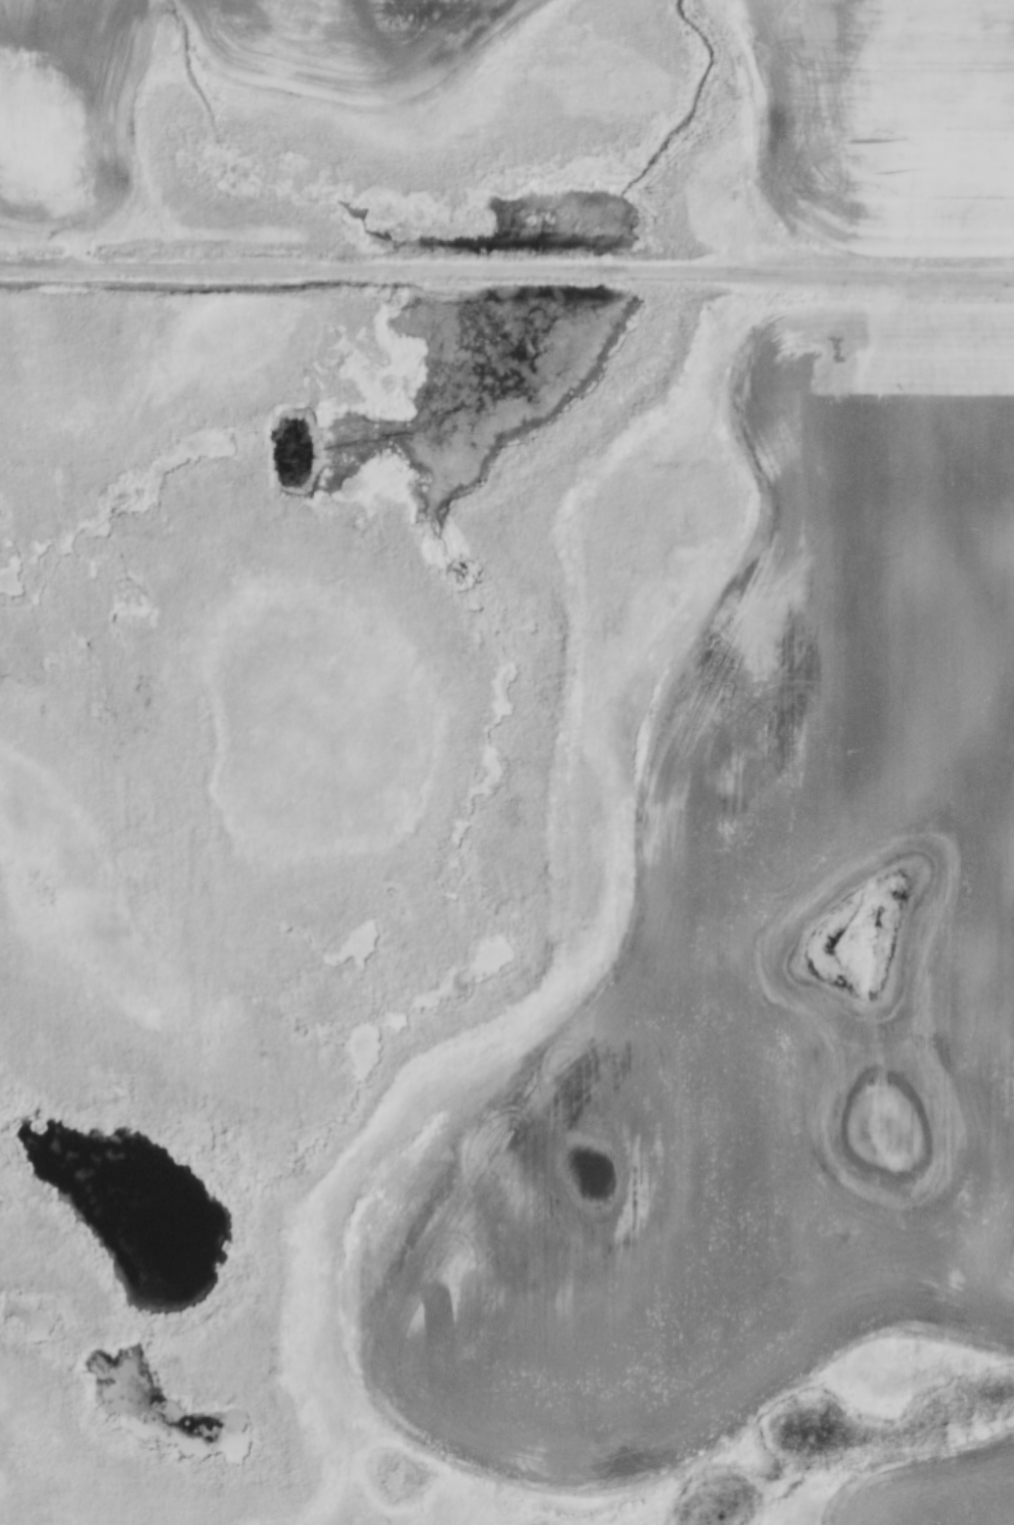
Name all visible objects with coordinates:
road: (506, 268)

